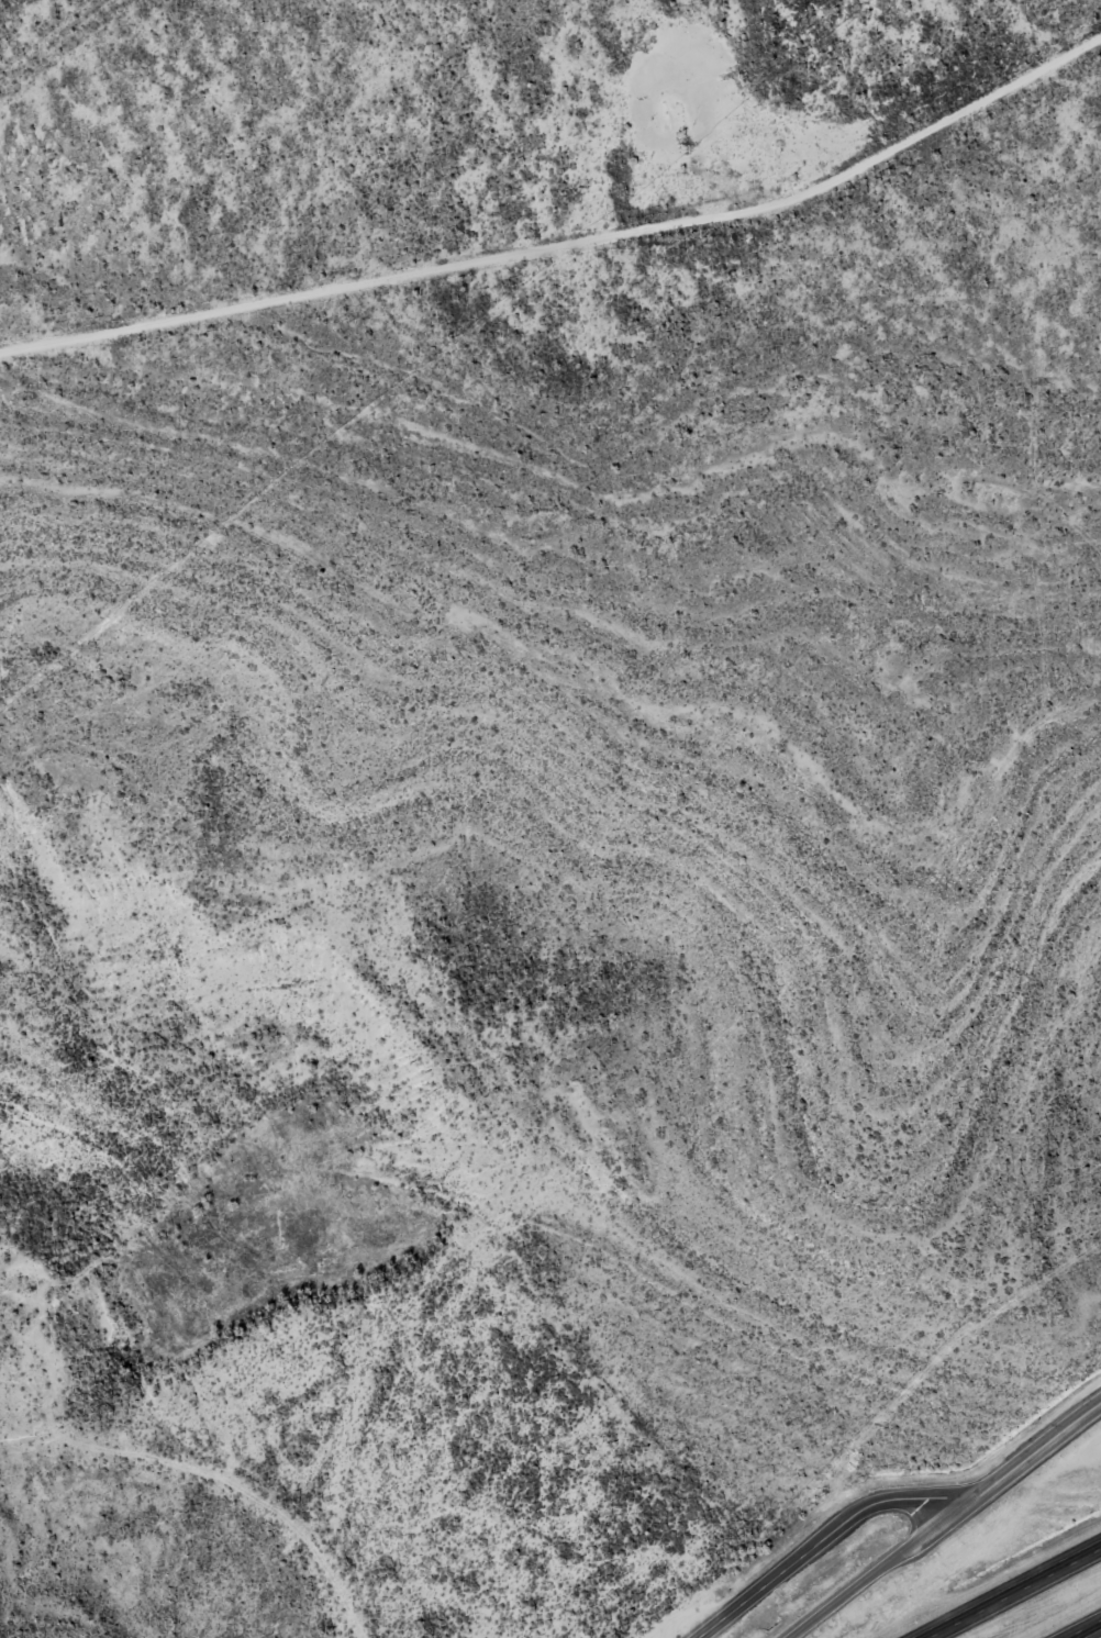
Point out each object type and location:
road: (1033, 1455)
road: (821, 1539)
road: (875, 1572)
road: (1012, 1594)
road: (1088, 1631)

